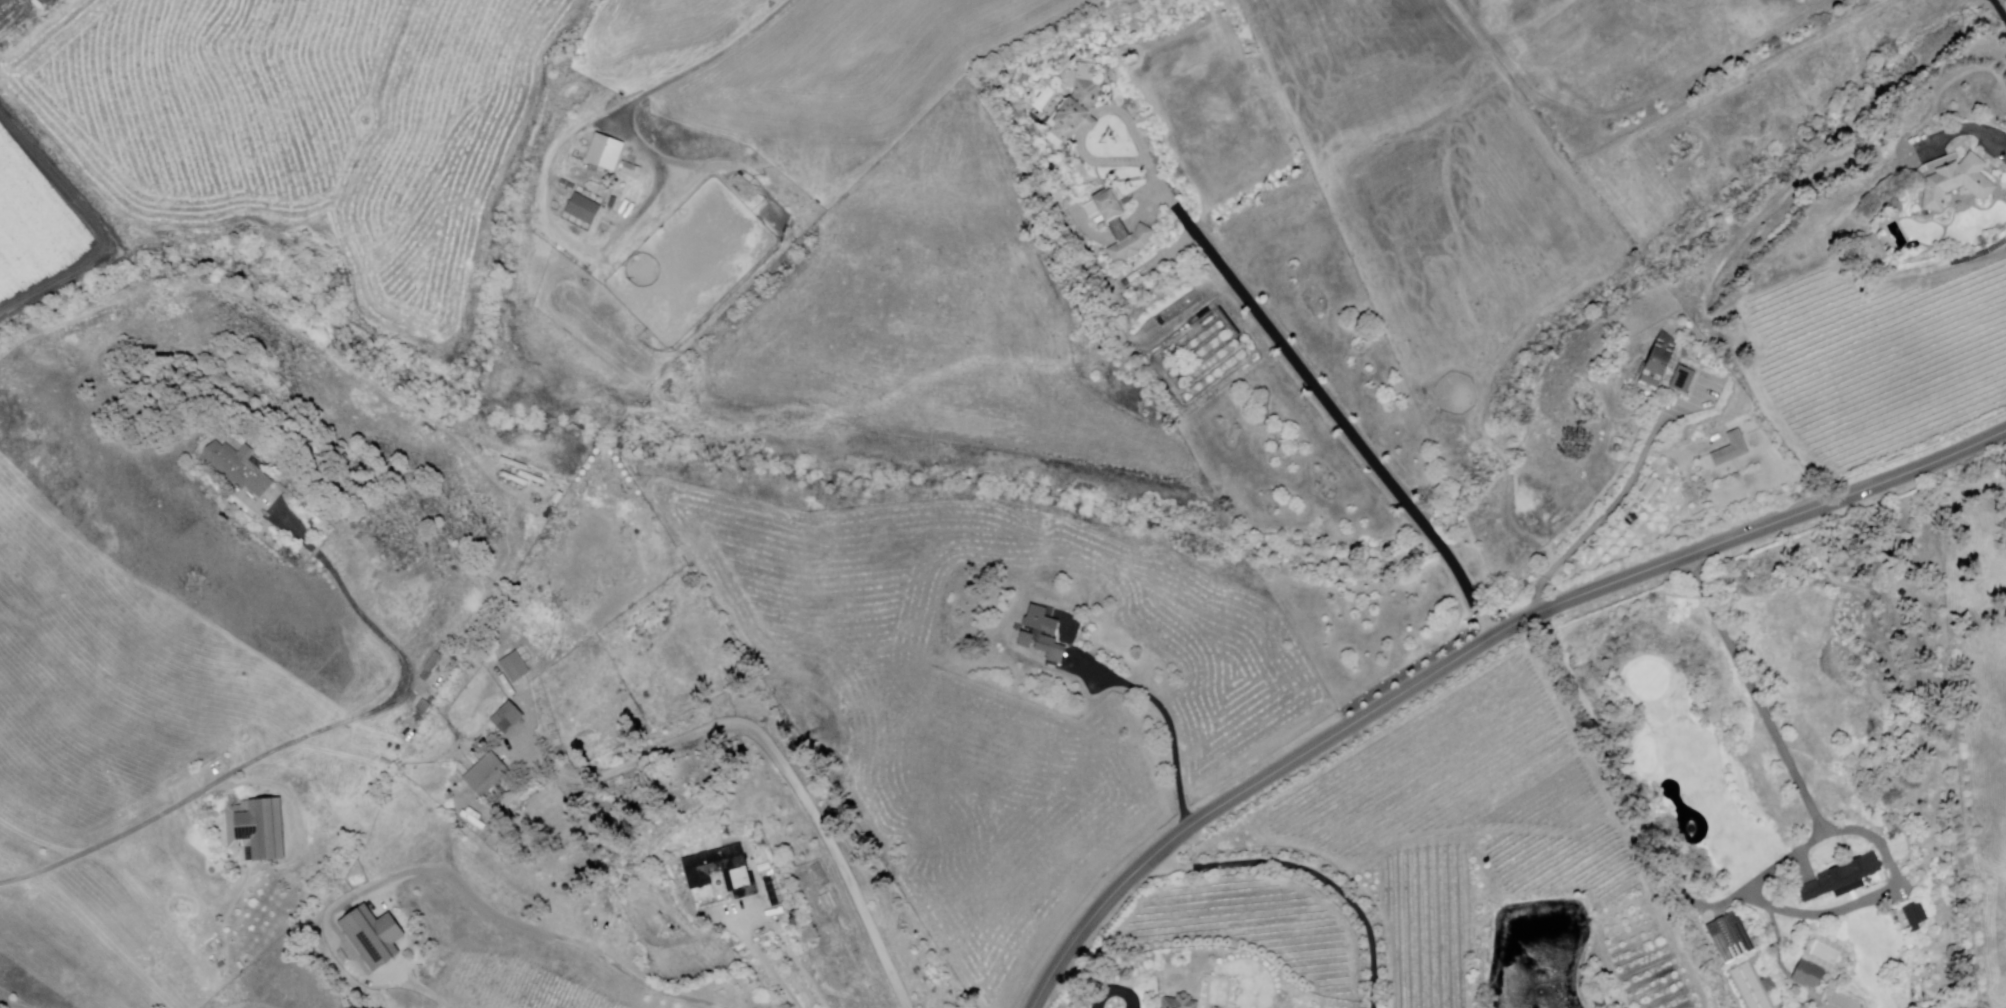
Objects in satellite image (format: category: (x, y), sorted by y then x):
road: (1999, 10)
crop: (660, 23)
road: (714, 57)
crop: (850, 63)
building: (1078, 113)
road: (1089, 122)
crop: (301, 126)
road: (1997, 137)
road: (1140, 144)
building: (605, 155)
road: (1101, 161)
building: (631, 172)
crop: (1438, 176)
building: (1960, 183)
building: (583, 211)
crop: (36, 228)
building: (1121, 229)
road: (579, 242)
building: (1874, 249)
building: (1661, 360)
building: (1685, 379)
road: (1339, 418)
building: (1732, 448)
building: (237, 468)
building: (1652, 489)
road: (1602, 518)
road: (371, 626)
building: (1042, 635)
road: (1475, 650)
building: (514, 667)
road: (1168, 718)
building: (507, 719)
road: (772, 752)
building: (486, 775)
road: (181, 802)
building: (256, 830)
road: (1850, 831)
building: (722, 871)
road: (1309, 872)
building: (817, 876)
building: (1841, 879)
building: (1917, 916)
road: (504, 920)
building: (371, 937)
building: (1730, 937)
road: (764, 963)
building: (1809, 976)
building: (1769, 984)
road: (1098, 986)
road: (1096, 996)
building: (1180, 1002)
park: (1841, 1002)

